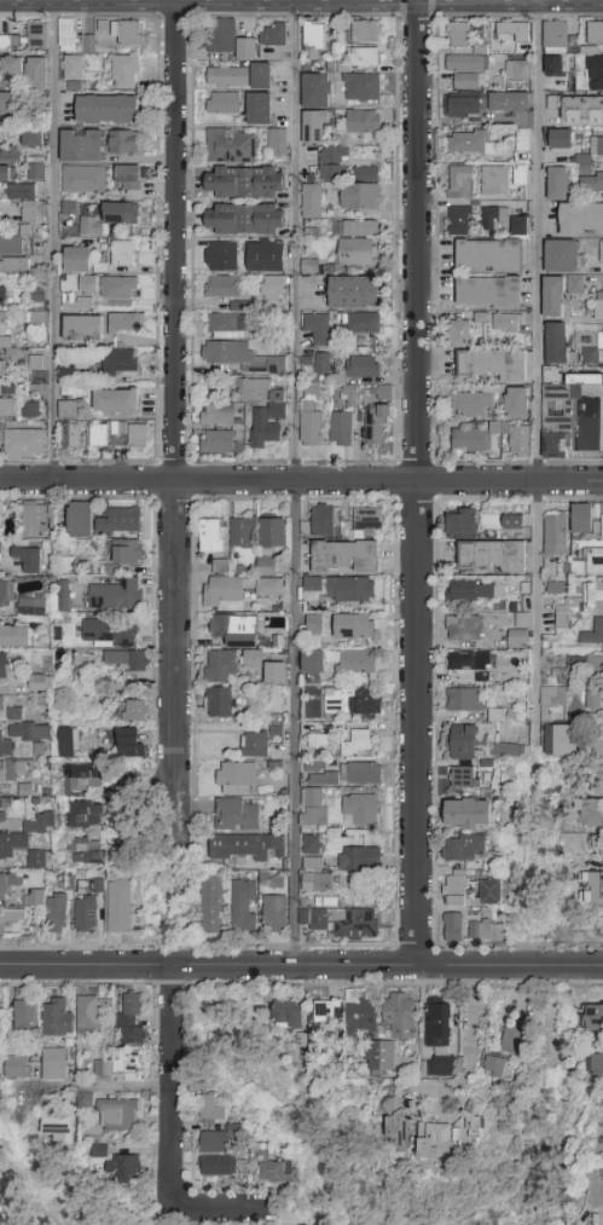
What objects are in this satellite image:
road: (301, 4)
building: (365, 31)
building: (126, 34)
building: (595, 34)
building: (66, 35)
building: (272, 35)
building: (555, 35)
building: (221, 36)
building: (36, 37)
building: (458, 37)
building: (314, 40)
building: (4, 44)
building: (88, 44)
building: (247, 48)
building: (363, 58)
building: (469, 62)
building: (555, 65)
building: (11, 67)
building: (73, 68)
building: (596, 69)
building: (517, 70)
building: (36, 73)
building: (124, 73)
building: (227, 76)
building: (262, 76)
building: (466, 81)
building: (363, 88)
building: (315, 91)
building: (509, 103)
building: (552, 103)
building: (224, 104)
building: (6, 105)
building: (463, 108)
building: (106, 109)
building: (260, 109)
building: (582, 110)
building: (363, 122)
building: (315, 128)
building: (33, 139)
building: (561, 139)
building: (522, 140)
building: (122, 143)
building: (277, 144)
building: (469, 144)
building: (81, 146)
building: (596, 146)
building: (232, 148)
building: (8, 155)
building: (331, 163)
building: (35, 172)
building: (7, 173)
building: (365, 174)
building: (518, 175)
building: (128, 178)
building: (82, 179)
building: (495, 180)
building: (459, 181)
building: (245, 183)
building: (591, 183)
building: (557, 184)
building: (21, 192)
building: (360, 197)
building: (312, 201)
building: (121, 214)
building: (27, 216)
building: (494, 219)
building: (581, 219)
building: (244, 220)
building: (459, 221)
building: (91, 226)
building: (520, 226)
building: (358, 229)
road: (53, 239)
building: (11, 245)
building: (123, 253)
building: (356, 253)
building: (601, 253)
building: (489, 255)
building: (221, 256)
building: (266, 256)
building: (562, 258)
building: (76, 260)
building: (15, 266)
building: (309, 266)
building: (575, 285)
building: (224, 287)
building: (272, 289)
building: (118, 291)
building: (354, 293)
building: (488, 293)
building: (2, 296)
building: (80, 296)
building: (552, 296)
building: (240, 306)
building: (37, 307)
building: (599, 307)
building: (124, 323)
building: (361, 324)
building: (506, 325)
building: (227, 327)
building: (317, 328)
building: (82, 329)
building: (462, 330)
building: (599, 341)
building: (557, 343)
building: (588, 357)
building: (242, 358)
building: (120, 362)
building: (36, 363)
building: (320, 363)
building: (492, 366)
road: (534, 366)
building: (2, 368)
building: (363, 368)
building: (65, 375)
building: (236, 389)
building: (259, 391)
building: (349, 397)
building: (116, 401)
building: (471, 404)
building: (516, 404)
building: (7, 408)
building: (31, 410)
building: (68, 410)
building: (218, 415)
road: (174, 420)
building: (568, 422)
building: (311, 423)
building: (266, 424)
building: (377, 424)
building: (118, 428)
building: (341, 429)
building: (99, 435)
building: (137, 435)
building: (70, 437)
building: (515, 438)
building: (468, 440)
building: (219, 443)
building: (24, 444)
road: (301, 481)
road: (294, 484)
road: (416, 484)
building: (34, 519)
building: (80, 520)
building: (120, 521)
building: (323, 521)
building: (367, 522)
building: (512, 522)
building: (587, 522)
building: (462, 524)
building: (242, 533)
building: (273, 533)
building: (555, 533)
building: (215, 543)
building: (128, 553)
building: (494, 556)
building: (346, 557)
building: (28, 560)
building: (588, 564)
building: (266, 567)
building: (269, 588)
building: (557, 588)
building: (338, 590)
building: (476, 590)
building: (224, 593)
building: (5, 595)
building: (116, 595)
building: (63, 596)
building: (595, 596)
building: (31, 605)
building: (566, 612)
building: (313, 624)
building: (353, 626)
building: (464, 629)
building: (234, 630)
building: (109, 634)
building: (592, 634)
building: (15, 636)
building: (517, 638)
building: (126, 660)
building: (253, 660)
building: (354, 661)
building: (313, 663)
building: (587, 664)
building: (5, 665)
building: (220, 666)
building: (468, 669)
building: (276, 674)
building: (40, 684)
building: (552, 697)
building: (591, 699)
building: (466, 700)
building: (353, 701)
building: (219, 703)
building: (11, 706)
building: (133, 710)
building: (274, 729)
building: (22, 735)
building: (123, 741)
building: (559, 741)
building: (65, 742)
building: (318, 742)
building: (463, 742)
building: (255, 745)
building: (358, 745)
building: (506, 751)
building: (12, 770)
building: (344, 774)
building: (464, 778)
building: (236, 779)
building: (82, 781)
building: (359, 805)
building: (312, 808)
building: (2, 810)
building: (469, 814)
building: (593, 814)
building: (85, 815)
building: (237, 815)
building: (40, 824)
building: (11, 844)
building: (597, 845)
building: (248, 848)
building: (463, 848)
building: (87, 853)
building: (311, 853)
building: (35, 859)
building: (359, 859)
building: (317, 882)
building: (66, 883)
building: (4, 886)
building: (595, 889)
building: (457, 891)
building: (491, 894)
building: (210, 906)
building: (243, 906)
building: (118, 907)
building: (57, 913)
building: (85, 914)
building: (274, 914)
building: (10, 917)
building: (342, 923)
building: (453, 928)
building: (479, 930)
road: (301, 967)
building: (326, 1012)
building: (288, 1013)
building: (88, 1015)
building: (399, 1015)
building: (25, 1016)
building: (360, 1016)
building: (58, 1017)
building: (592, 1017)
building: (131, 1019)
building: (439, 1036)
building: (512, 1040)
road: (468, 1046)
building: (379, 1057)
building: (53, 1064)
building: (596, 1064)
building: (120, 1067)
building: (494, 1067)
building: (16, 1068)
road: (93, 1088)
road: (172, 1088)
building: (211, 1110)
building: (117, 1115)
building: (396, 1123)
road: (561, 1123)
building: (60, 1126)
building: (451, 1136)
building: (215, 1142)
building: (124, 1167)
building: (221, 1167)
building: (278, 1173)
road: (216, 1209)

